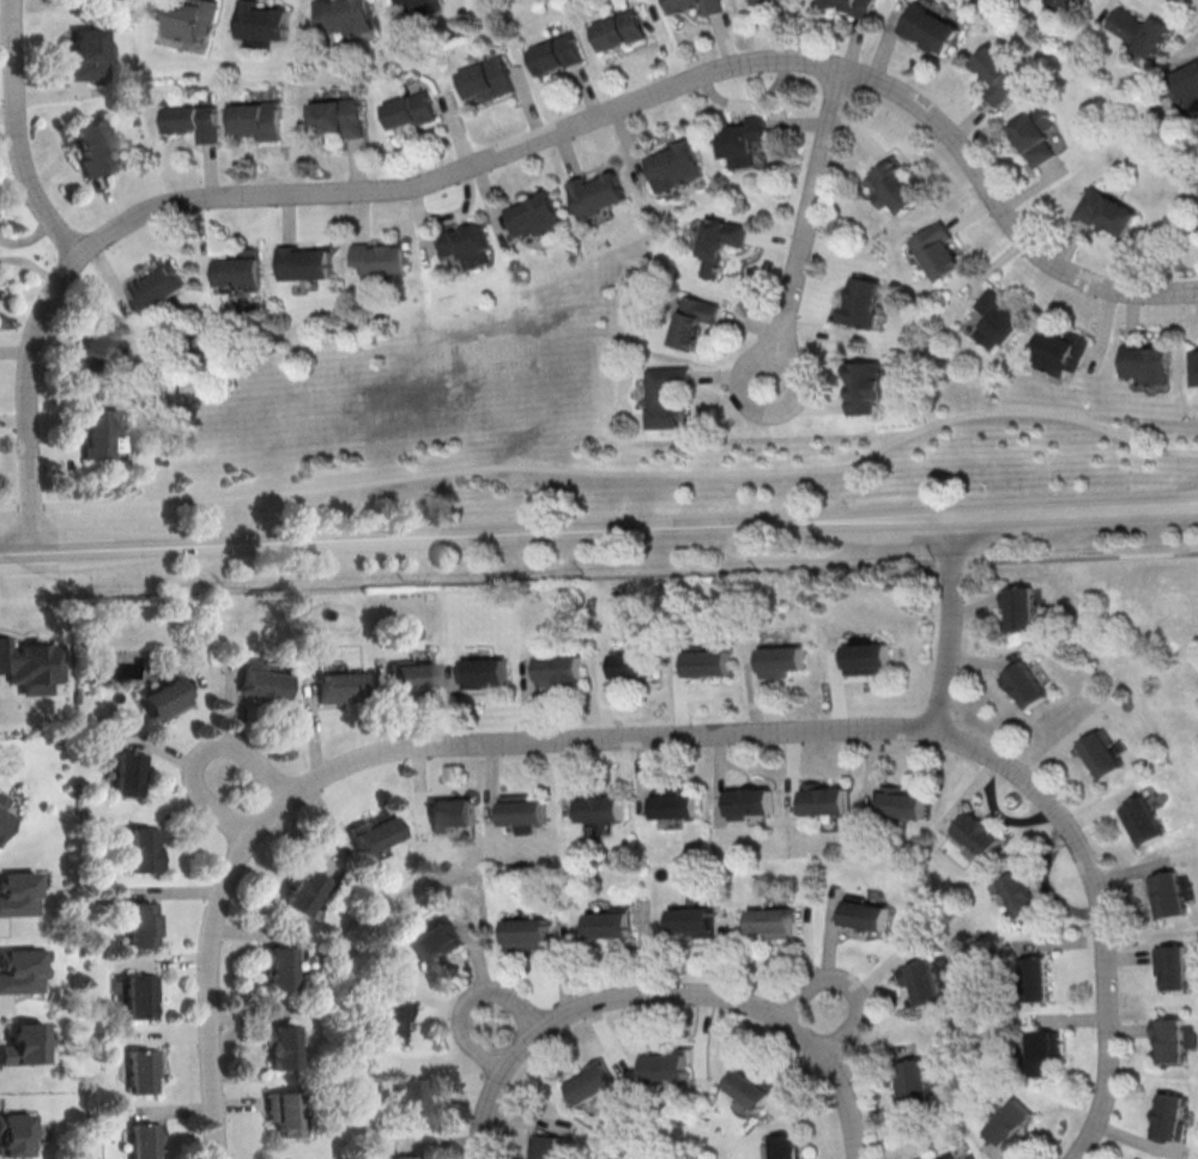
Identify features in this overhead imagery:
building: (758, 0)
building: (1073, 1)
building: (1048, 2)
building: (857, 4)
building: (418, 6)
building: (713, 7)
building: (345, 16)
building: (189, 18)
building: (261, 20)
building: (928, 26)
building: (619, 29)
building: (1142, 30)
building: (557, 53)
building: (86, 54)
building: (998, 74)
building: (486, 79)
building: (1188, 84)
building: (411, 109)
building: (338, 116)
building: (194, 120)
building: (258, 120)
building: (1034, 133)
road: (19, 135)
building: (743, 140)
building: (91, 146)
road: (526, 146)
building: (676, 165)
building: (897, 184)
building: (597, 192)
building: (1107, 210)
building: (534, 212)
road: (804, 223)
building: (464, 239)
building: (718, 242)
building: (937, 249)
building: (380, 257)
building: (305, 262)
building: (238, 267)
building: (157, 287)
building: (863, 302)
building: (996, 317)
building: (694, 318)
building: (91, 347)
building: (1059, 351)
building: (1145, 362)
building: (1193, 365)
building: (869, 383)
building: (666, 395)
building: (97, 431)
road: (607, 472)
road: (599, 529)
road: (598, 575)
building: (1019, 606)
road: (950, 625)
building: (865, 657)
building: (780, 660)
building: (707, 662)
building: (633, 665)
building: (30, 666)
building: (557, 668)
building: (484, 672)
building: (411, 674)
building: (1023, 682)
building: (260, 686)
building: (340, 687)
building: (164, 702)
road: (780, 730)
building: (1103, 752)
building: (127, 772)
road: (250, 796)
building: (1, 799)
building: (824, 799)
building: (749, 801)
building: (901, 801)
building: (674, 802)
building: (600, 807)
building: (524, 811)
building: (452, 813)
building: (2, 818)
building: (1143, 820)
building: (371, 832)
building: (976, 833)
building: (141, 848)
building: (1019, 891)
building: (18, 892)
building: (302, 892)
building: (1168, 893)
building: (865, 914)
building: (692, 921)
building: (773, 921)
building: (609, 923)
building: (140, 924)
building: (526, 933)
building: (434, 940)
building: (278, 965)
building: (1173, 965)
building: (23, 969)
building: (1034, 978)
building: (922, 982)
road: (851, 983)
building: (139, 994)
building: (393, 1020)
road: (798, 1032)
road: (506, 1033)
road: (531, 1033)
building: (1170, 1037)
building: (25, 1044)
building: (282, 1045)
road: (213, 1048)
building: (1042, 1051)
building: (666, 1064)
building: (143, 1069)
building: (591, 1080)
building: (912, 1082)
building: (750, 1087)
building: (412, 1099)
building: (285, 1112)
building: (1172, 1116)
building: (1009, 1122)
building: (14, 1134)
building: (146, 1140)
park: (665, 1140)
building: (546, 1146)
building: (785, 1146)
building: (945, 1155)
building: (405, 1157)
building: (918, 1157)
building: (1136, 1158)

